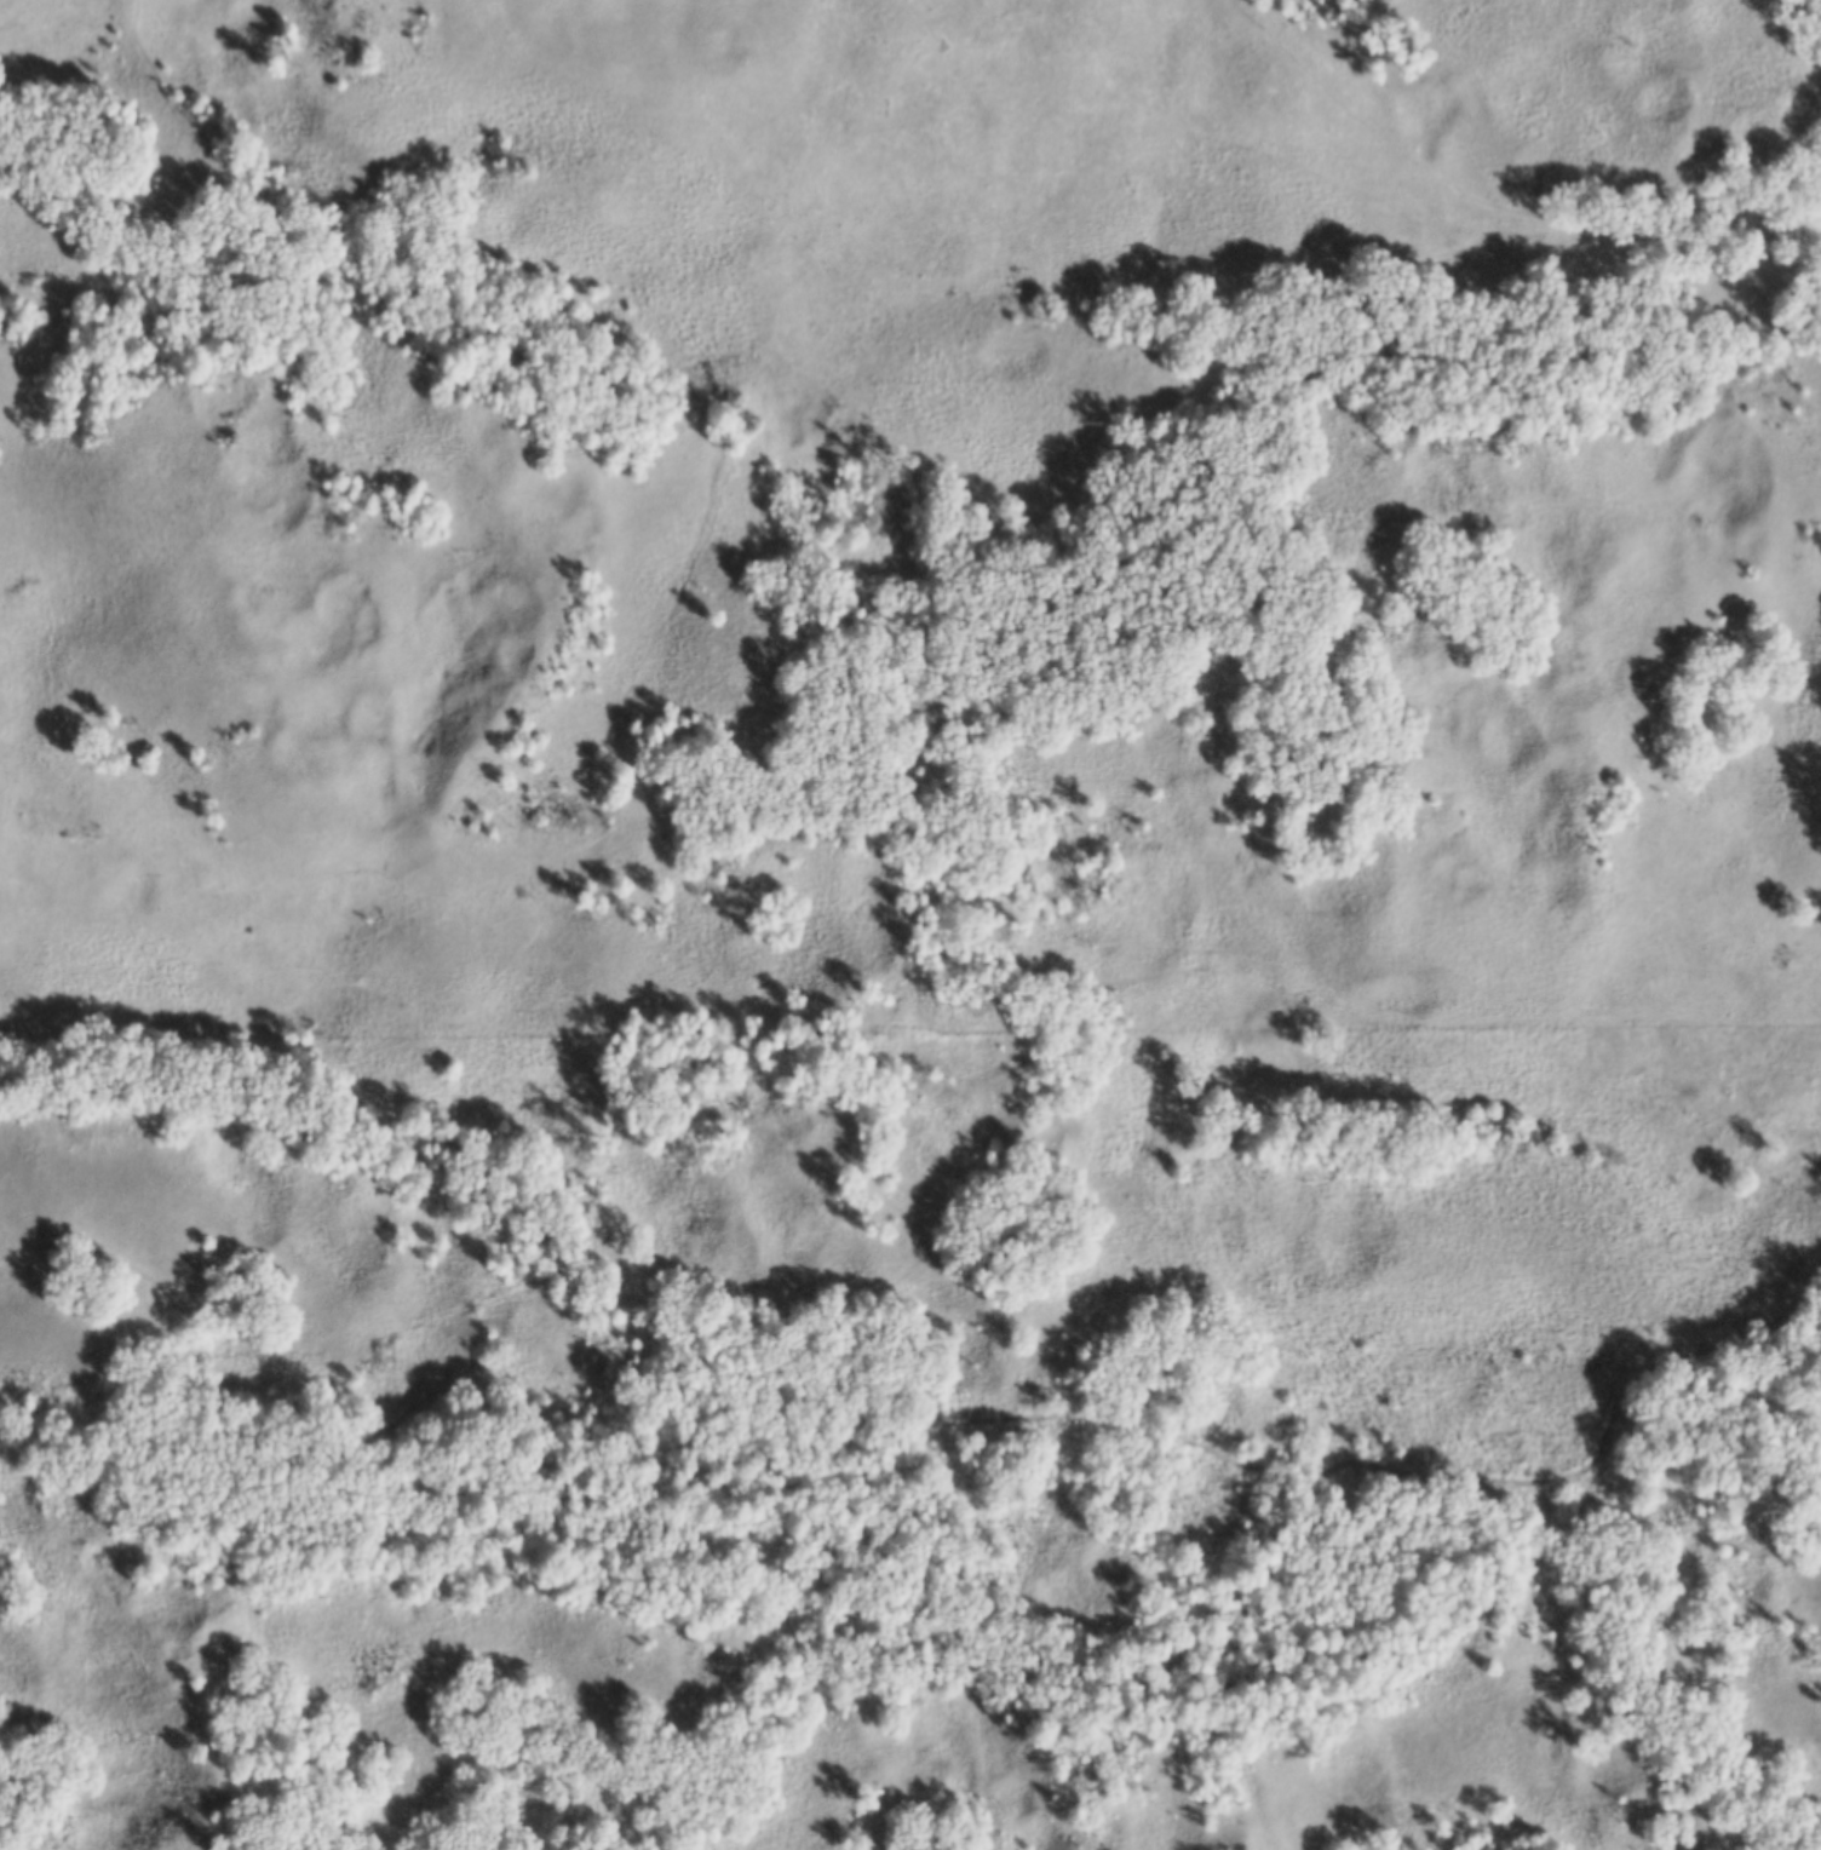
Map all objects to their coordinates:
road: (833, 1315)

